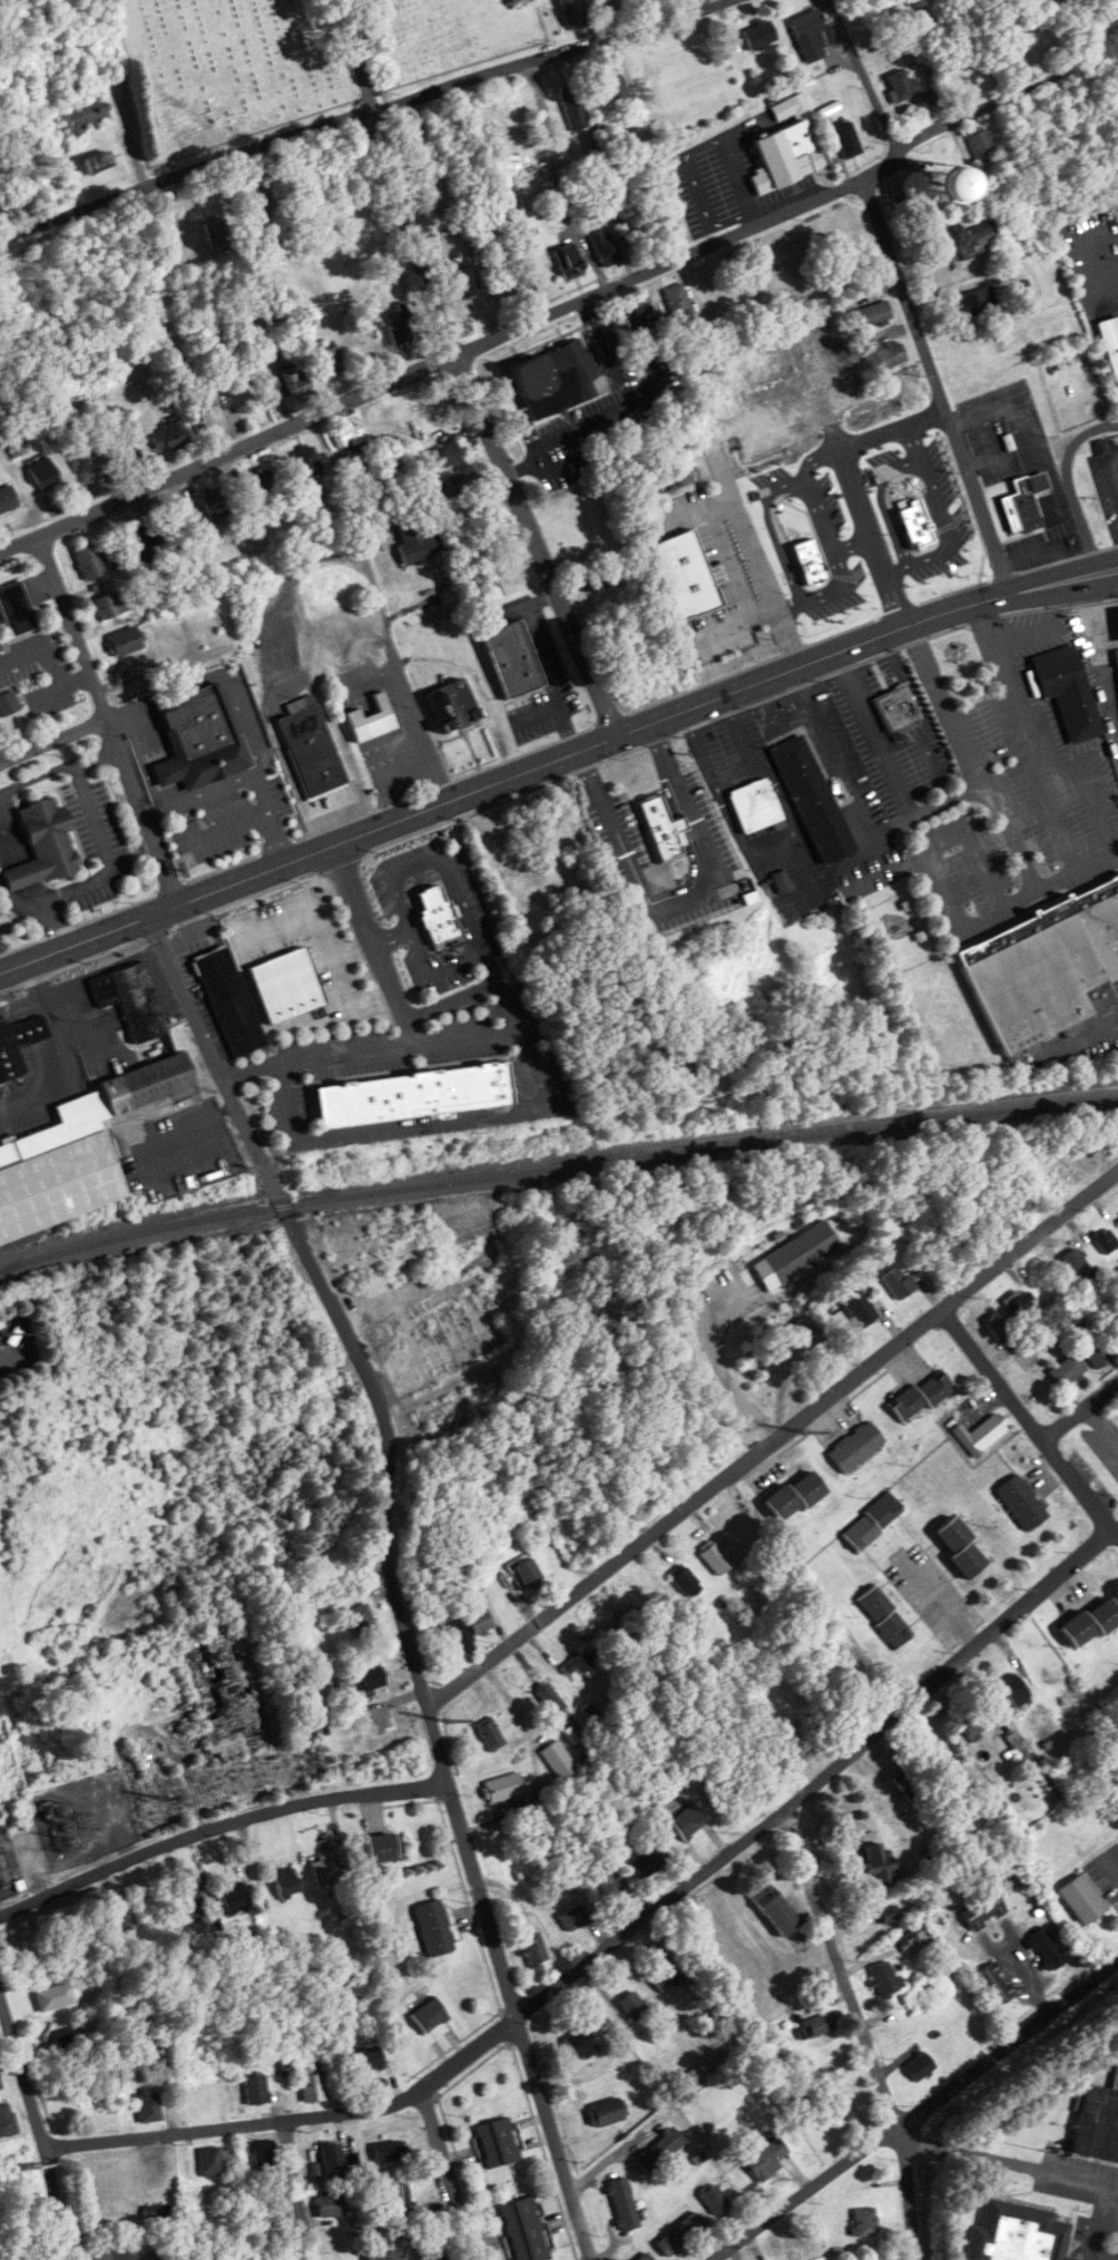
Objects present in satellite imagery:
building: (644, 1)
building: (609, 8)
building: (570, 12)
building: (761, 35)
building: (813, 35)
building: (1031, 47)
road: (352, 55)
park: (292, 60)
road: (864, 77)
building: (903, 85)
building: (609, 88)
road: (141, 90)
building: (573, 106)
building: (791, 108)
road: (361, 111)
building: (1069, 111)
building: (86, 114)
building: (1022, 127)
building: (847, 139)
building: (981, 146)
building: (785, 156)
building: (97, 159)
building: (952, 185)
building: (903, 204)
building: (218, 235)
building: (979, 239)
building: (606, 247)
building: (570, 261)
road: (1102, 265)
building: (464, 281)
building: (678, 301)
building: (979, 301)
road: (589, 310)
building: (873, 315)
road: (538, 317)
building: (396, 325)
road: (647, 345)
building: (828, 350)
building: (886, 355)
building: (331, 359)
road: (611, 362)
building: (232, 370)
building: (556, 380)
building: (294, 381)
road: (934, 385)
road: (481, 427)
road: (575, 427)
building: (347, 434)
building: (169, 436)
building: (126, 452)
building: (441, 454)
road: (1115, 454)
building: (308, 459)
road: (522, 467)
road: (1115, 467)
building: (45, 473)
building: (261, 481)
road: (1069, 485)
building: (450, 487)
road: (853, 488)
building: (8, 499)
building: (215, 503)
building: (1030, 505)
road: (821, 517)
building: (813, 524)
building: (138, 540)
building: (415, 545)
road: (752, 550)
building: (89, 561)
road: (730, 562)
building: (597, 580)
building: (489, 587)
building: (154, 588)
road: (539, 598)
building: (109, 605)
road: (380, 606)
building: (16, 609)
building: (204, 616)
road: (72, 624)
road: (733, 624)
building: (167, 628)
building: (126, 642)
road: (1106, 644)
building: (1117, 652)
road: (539, 656)
building: (512, 658)
road: (1098, 662)
road: (163, 688)
building: (1069, 691)
building: (8, 704)
road: (942, 704)
building: (453, 706)
building: (896, 710)
road: (536, 714)
road: (787, 714)
road: (242, 718)
building: (372, 721)
road: (566, 728)
road: (876, 734)
road: (53, 735)
road: (1034, 735)
building: (200, 738)
building: (312, 746)
road: (834, 752)
road: (97, 755)
road: (555, 759)
road: (37, 775)
road: (217, 784)
building: (811, 802)
road: (160, 806)
road: (143, 808)
building: (754, 808)
road: (929, 809)
road: (267, 816)
building: (661, 832)
road: (7, 841)
building: (43, 845)
road: (107, 851)
road: (19, 872)
road: (1028, 873)
road: (393, 875)
building: (783, 881)
road: (35, 892)
road: (681, 896)
building: (437, 916)
road: (317, 919)
road: (55, 924)
road: (393, 937)
road: (489, 966)
building: (1042, 968)
building: (286, 985)
building: (133, 1000)
building: (229, 1000)
road: (450, 1000)
road: (350, 1001)
road: (509, 1005)
road: (56, 1020)
road: (408, 1031)
building: (18, 1044)
building: (413, 1095)
building: (568, 1107)
road: (479, 1118)
building: (78, 1152)
railway: (555, 1158)
railway: (556, 1170)
building: (1057, 1175)
building: (1107, 1241)
building: (384, 1245)
building: (802, 1251)
building: (1079, 1266)
building: (899, 1281)
building: (1019, 1305)
building: (471, 1324)
building: (1114, 1324)
building: (998, 1325)
building: (807, 1333)
building: (1095, 1348)
road: (718, 1356)
building: (1068, 1370)
building: (0, 1374)
building: (922, 1396)
building: (465, 1409)
road: (1081, 1412)
road: (1030, 1421)
road: (1102, 1427)
building: (981, 1434)
road: (772, 1439)
building: (856, 1446)
building: (795, 1496)
building: (1022, 1503)
building: (873, 1522)
road: (1117, 1535)
building: (962, 1547)
building: (716, 1558)
road: (395, 1573)
building: (530, 1574)
building: (687, 1582)
road: (939, 1604)
building: (885, 1616)
building: (362, 1620)
building: (1091, 1623)
building: (472, 1626)
building: (581, 1661)
road: (715, 1673)
building: (362, 1681)
building: (235, 1684)
building: (1016, 1690)
building: (550, 1699)
building: (978, 1721)
building: (490, 1733)
building: (559, 1760)
building: (910, 1783)
building: (503, 1787)
power substation: (85, 1817)
building: (689, 1820)
road: (217, 1828)
building: (382, 1847)
building: (648, 1862)
building: (881, 1863)
road: (1110, 1863)
building: (324, 1867)
power substation: (9, 1869)
building: (287, 1882)
building: (612, 1885)
building: (234, 1896)
building: (1083, 1898)
building: (192, 1900)
building: (775, 1909)
building: (983, 1910)
building: (889, 1912)
building: (117, 1917)
building: (573, 1918)
building: (434, 1927)
road: (621, 1938)
building: (912, 1938)
building: (1047, 1948)
building: (535, 1950)
building: (666, 1976)
building: (885, 1979)
building: (996, 1984)
building: (926, 1987)
building: (55, 1996)
building: (634, 2006)
building: (430, 2015)
building: (817, 2025)
road: (864, 2028)
building: (70, 2041)
building: (581, 2044)
building: (367, 2060)
building: (285, 2062)
building: (920, 2065)
building: (312, 2082)
building: (0, 2087)
building: (256, 2090)
building: (148, 2105)
building: (837, 2110)
building: (607, 2112)
road: (918, 2113)
building: (7, 2121)
building: (1098, 2122)
road: (37, 2129)
building: (498, 2142)
building: (390, 2150)
building: (660, 2150)
building: (264, 2154)
building: (764, 2156)
building: (333, 2158)
building: (214, 2160)
road: (1007, 2160)
road: (452, 2176)
road: (301, 2192)
building: (400, 2198)
building: (715, 2199)
building: (624, 2203)
building: (331, 2205)
building: (157, 2212)
building: (273, 2212)
building: (865, 2222)
road: (1105, 2225)
building: (524, 2229)
building: (681, 2233)
building: (1018, 2233)
road: (1089, 2246)
building: (127, 2251)
building: (386, 2256)
building: (437, 2256)

